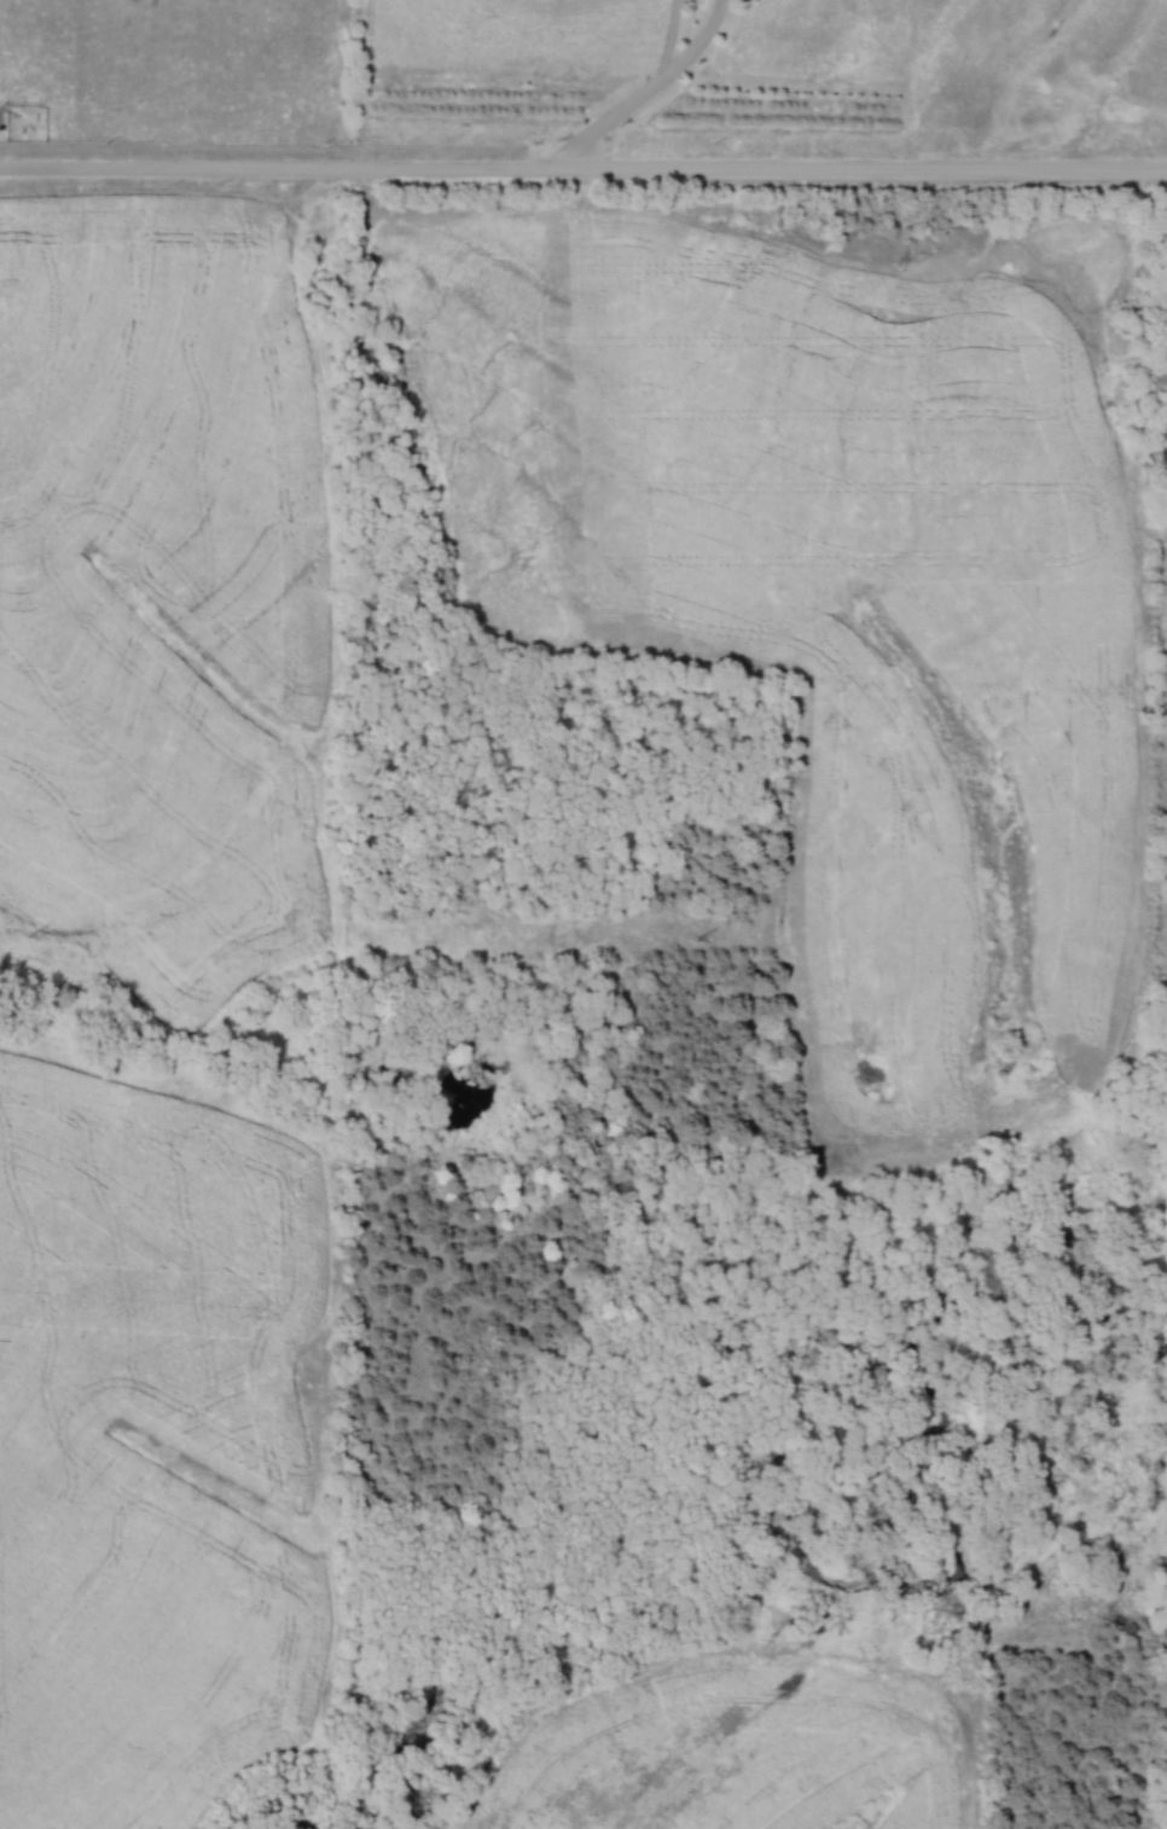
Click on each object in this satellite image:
road: (583, 163)

